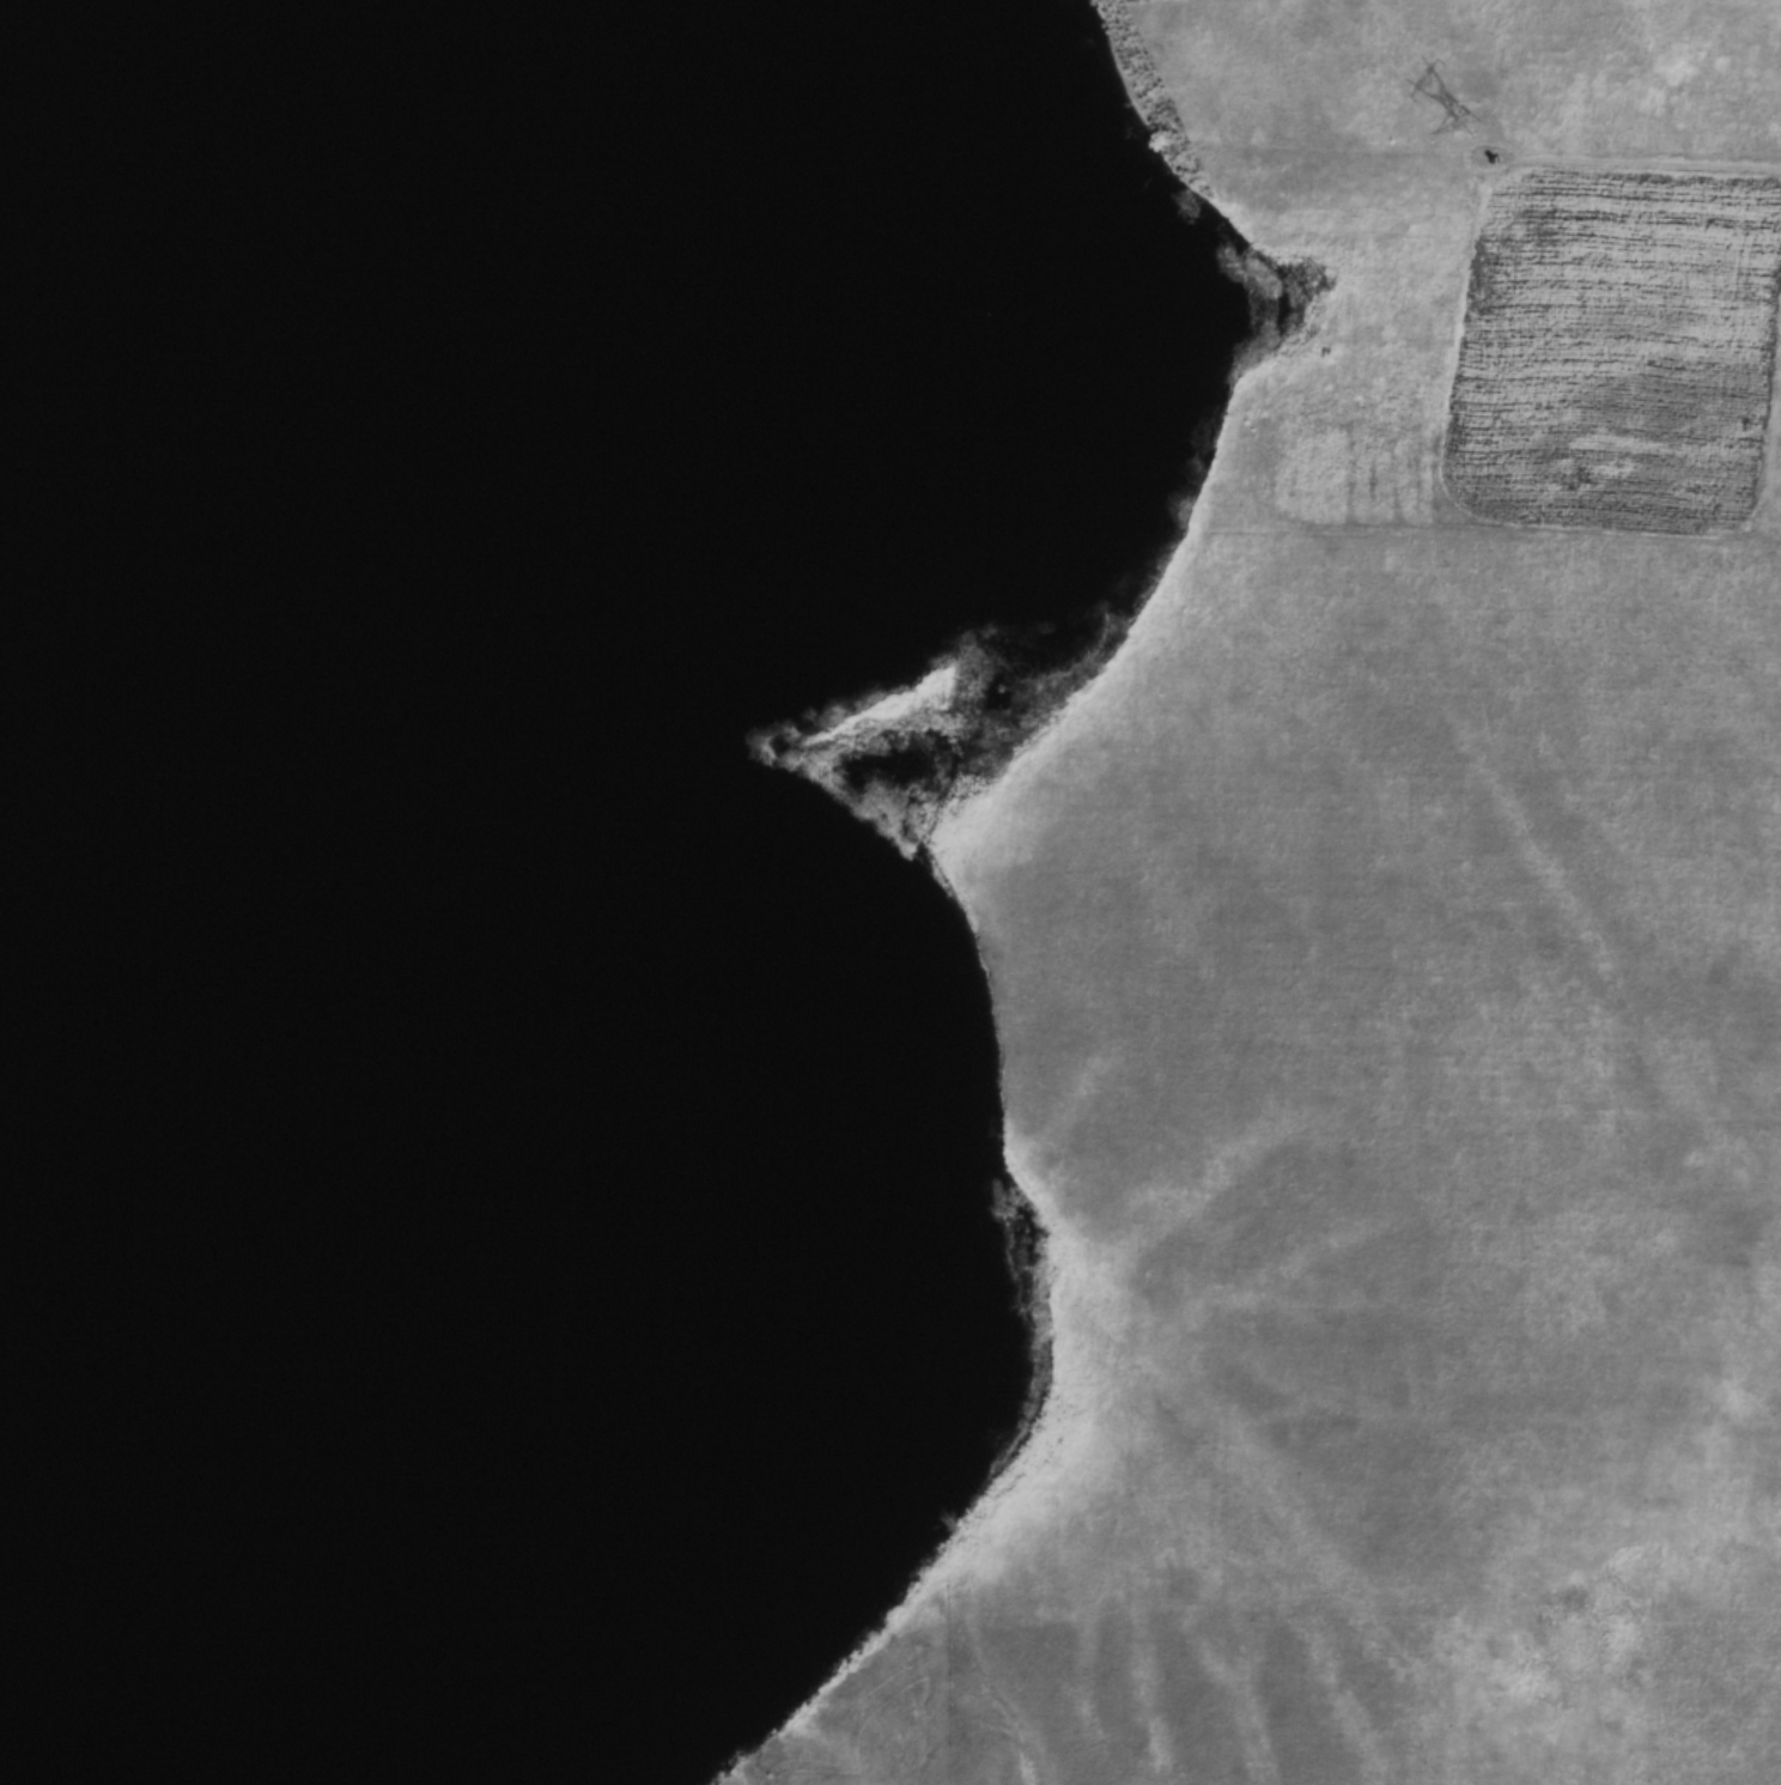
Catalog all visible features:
power tower: (1454, 130)

